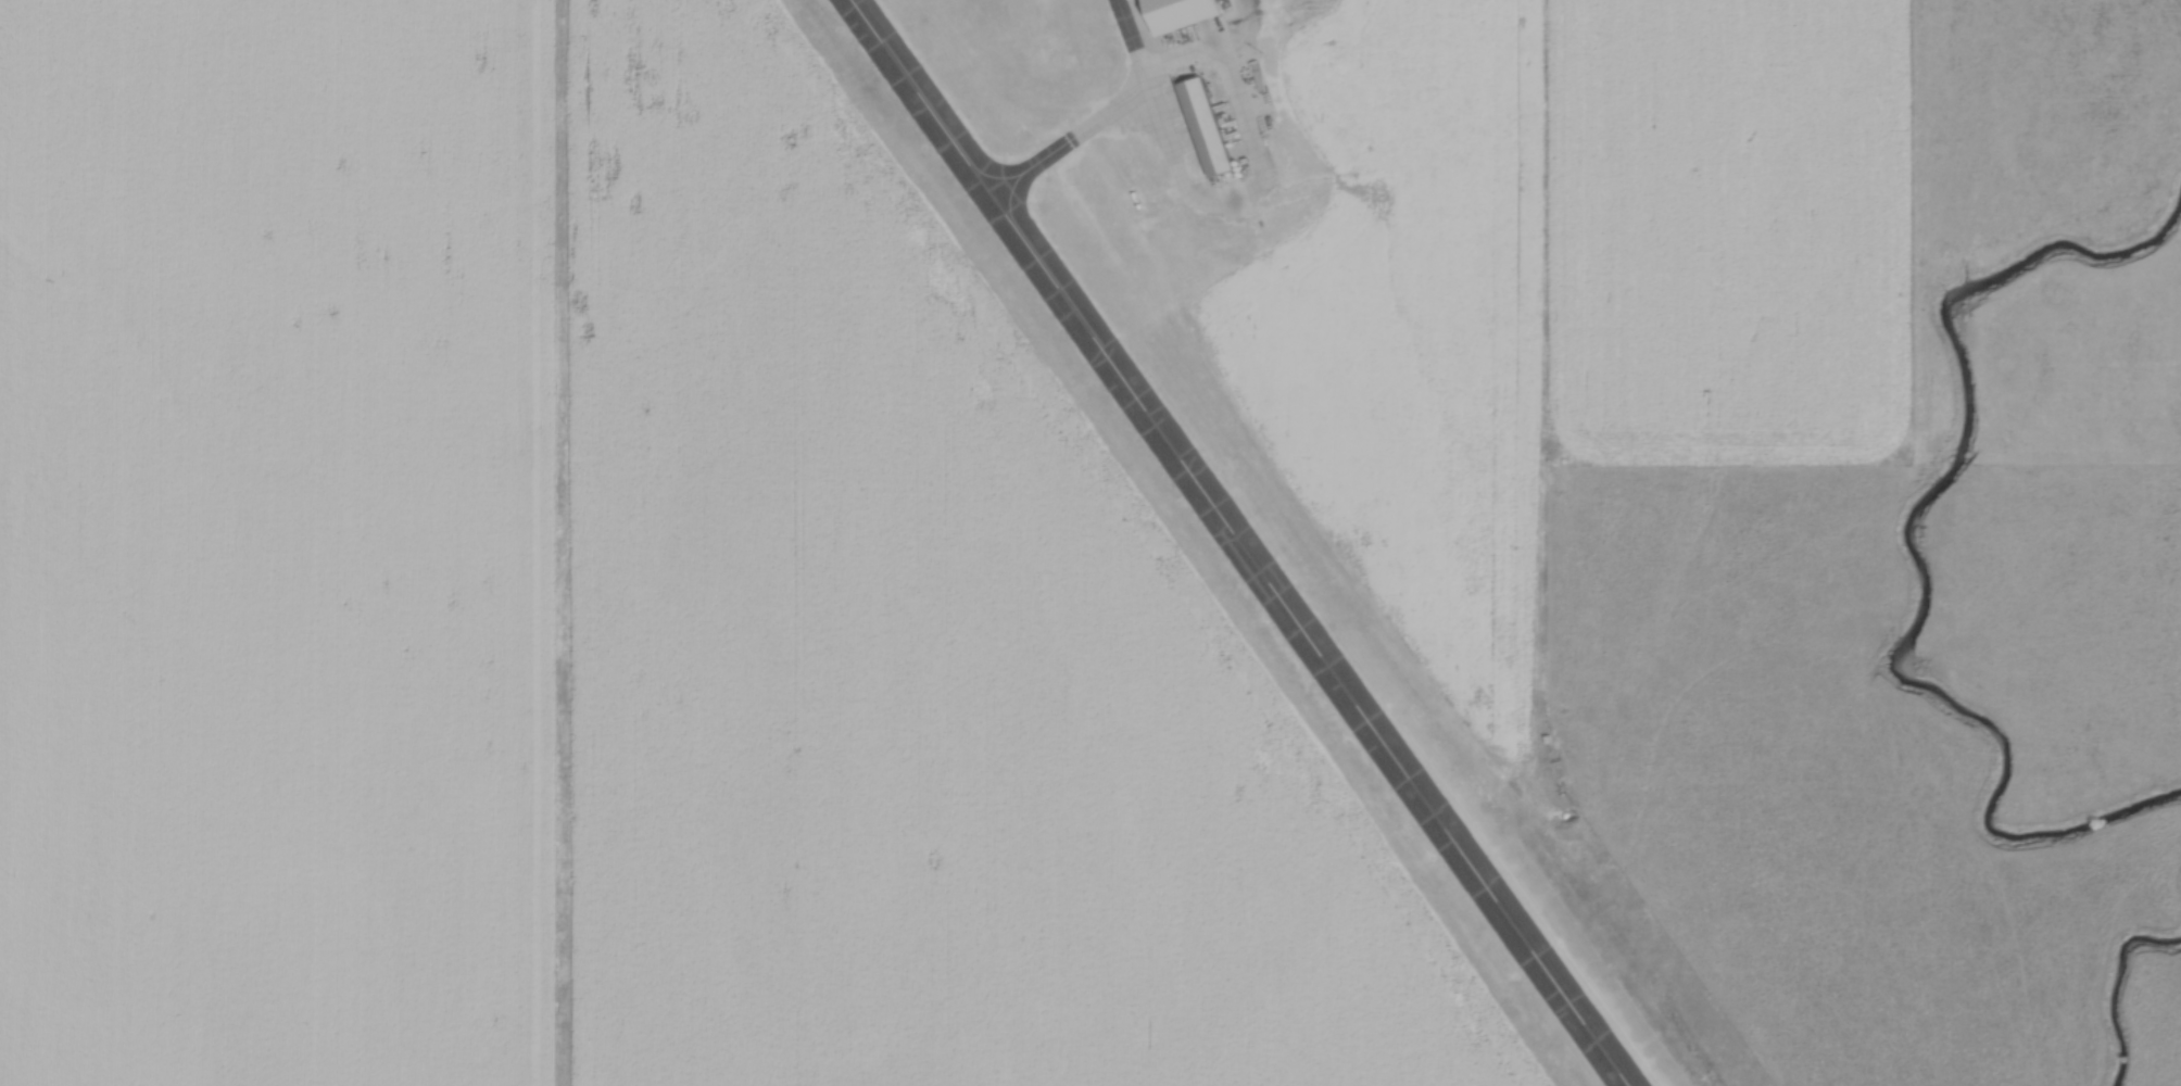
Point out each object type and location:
building: (1188, 13)
road: (1240, 31)
airport taxiway: (1131, 34)
building: (1206, 125)
airport taxiway: (1070, 139)
airport taxiway: (1190, 192)
airport: (1239, 468)
airport runway: (1241, 543)
river: (1909, 550)
crop: (907, 664)
river: (2117, 987)

